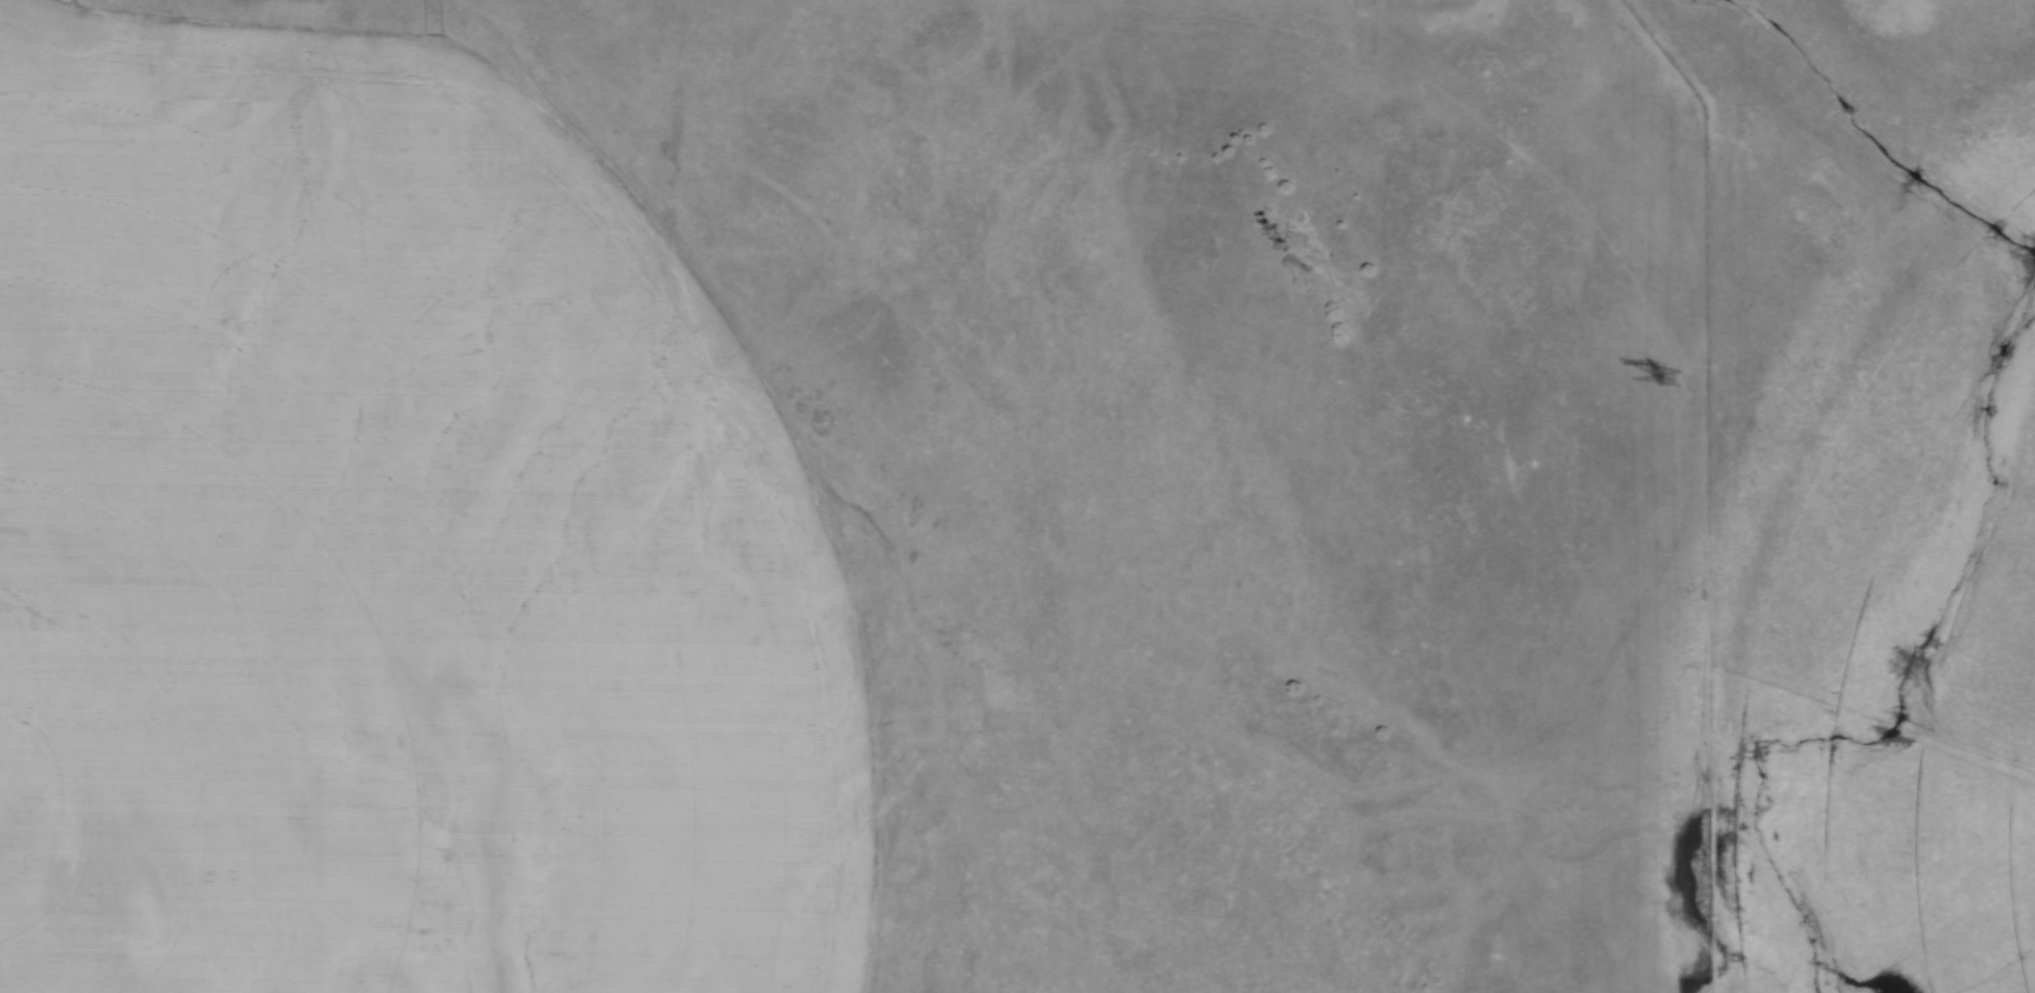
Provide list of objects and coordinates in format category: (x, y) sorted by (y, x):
power tower: (1668, 381)

